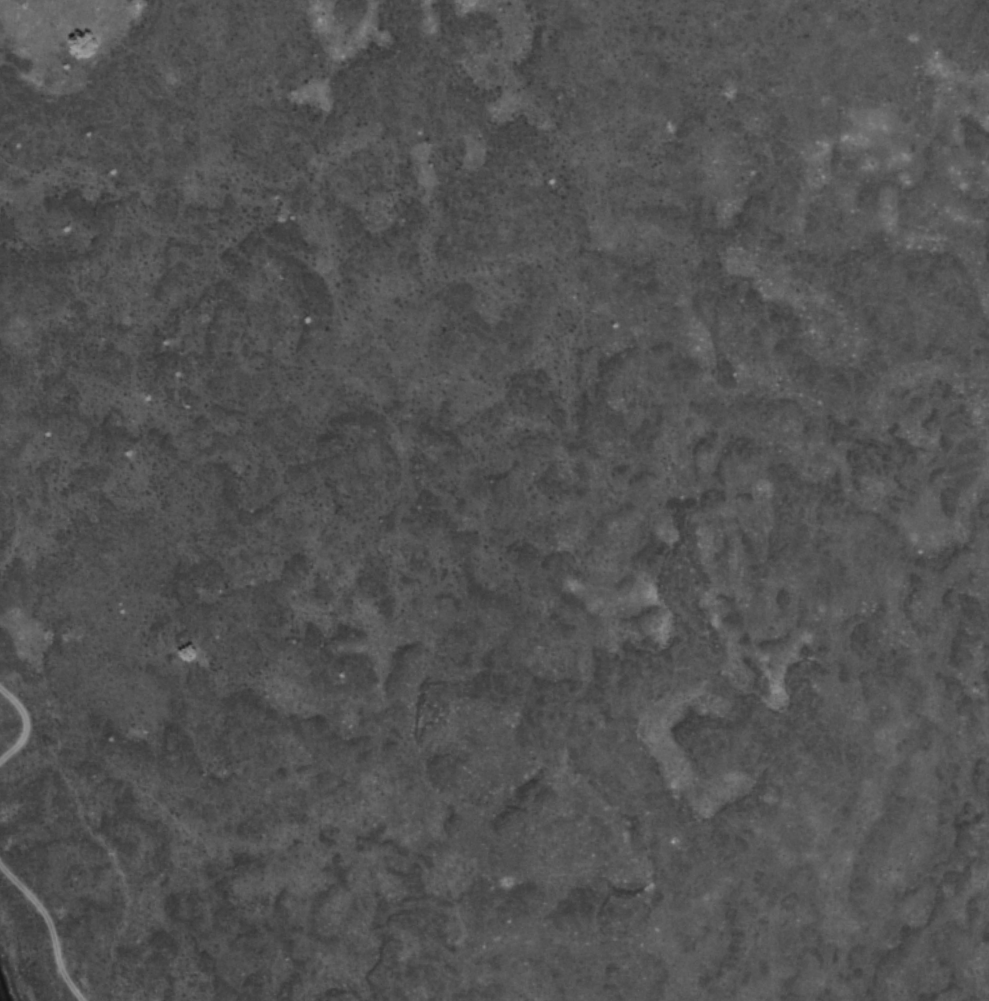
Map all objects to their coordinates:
road: (24, 728)
road: (53, 923)

